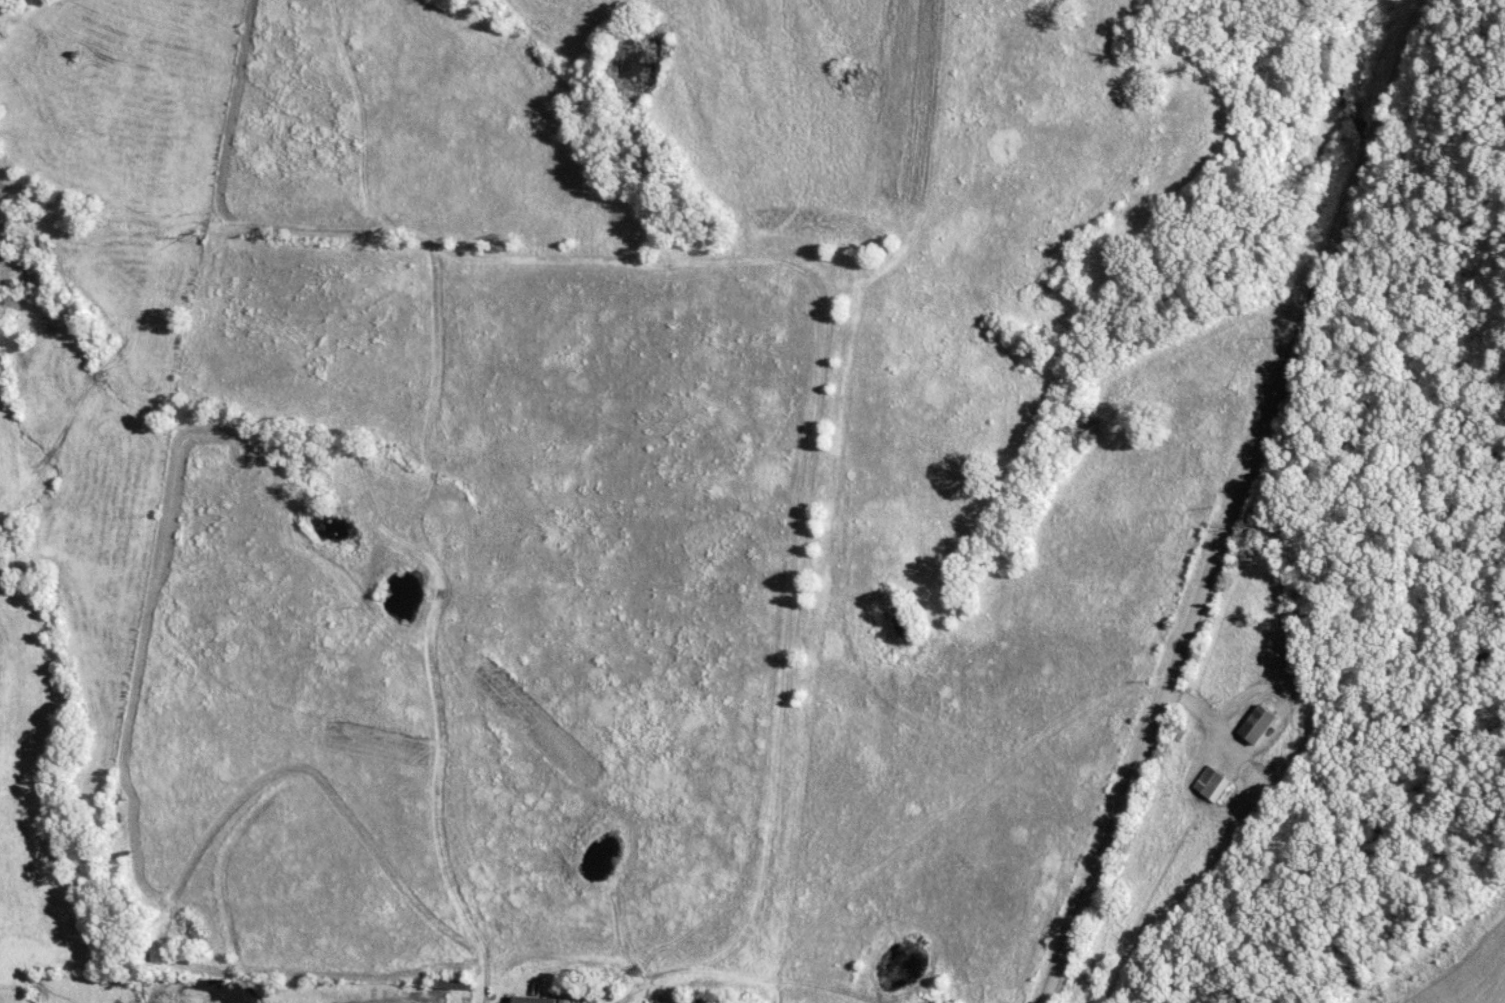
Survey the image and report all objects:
road: (1234, 501)
building: (1264, 725)
building: (1217, 784)
building: (538, 1000)

